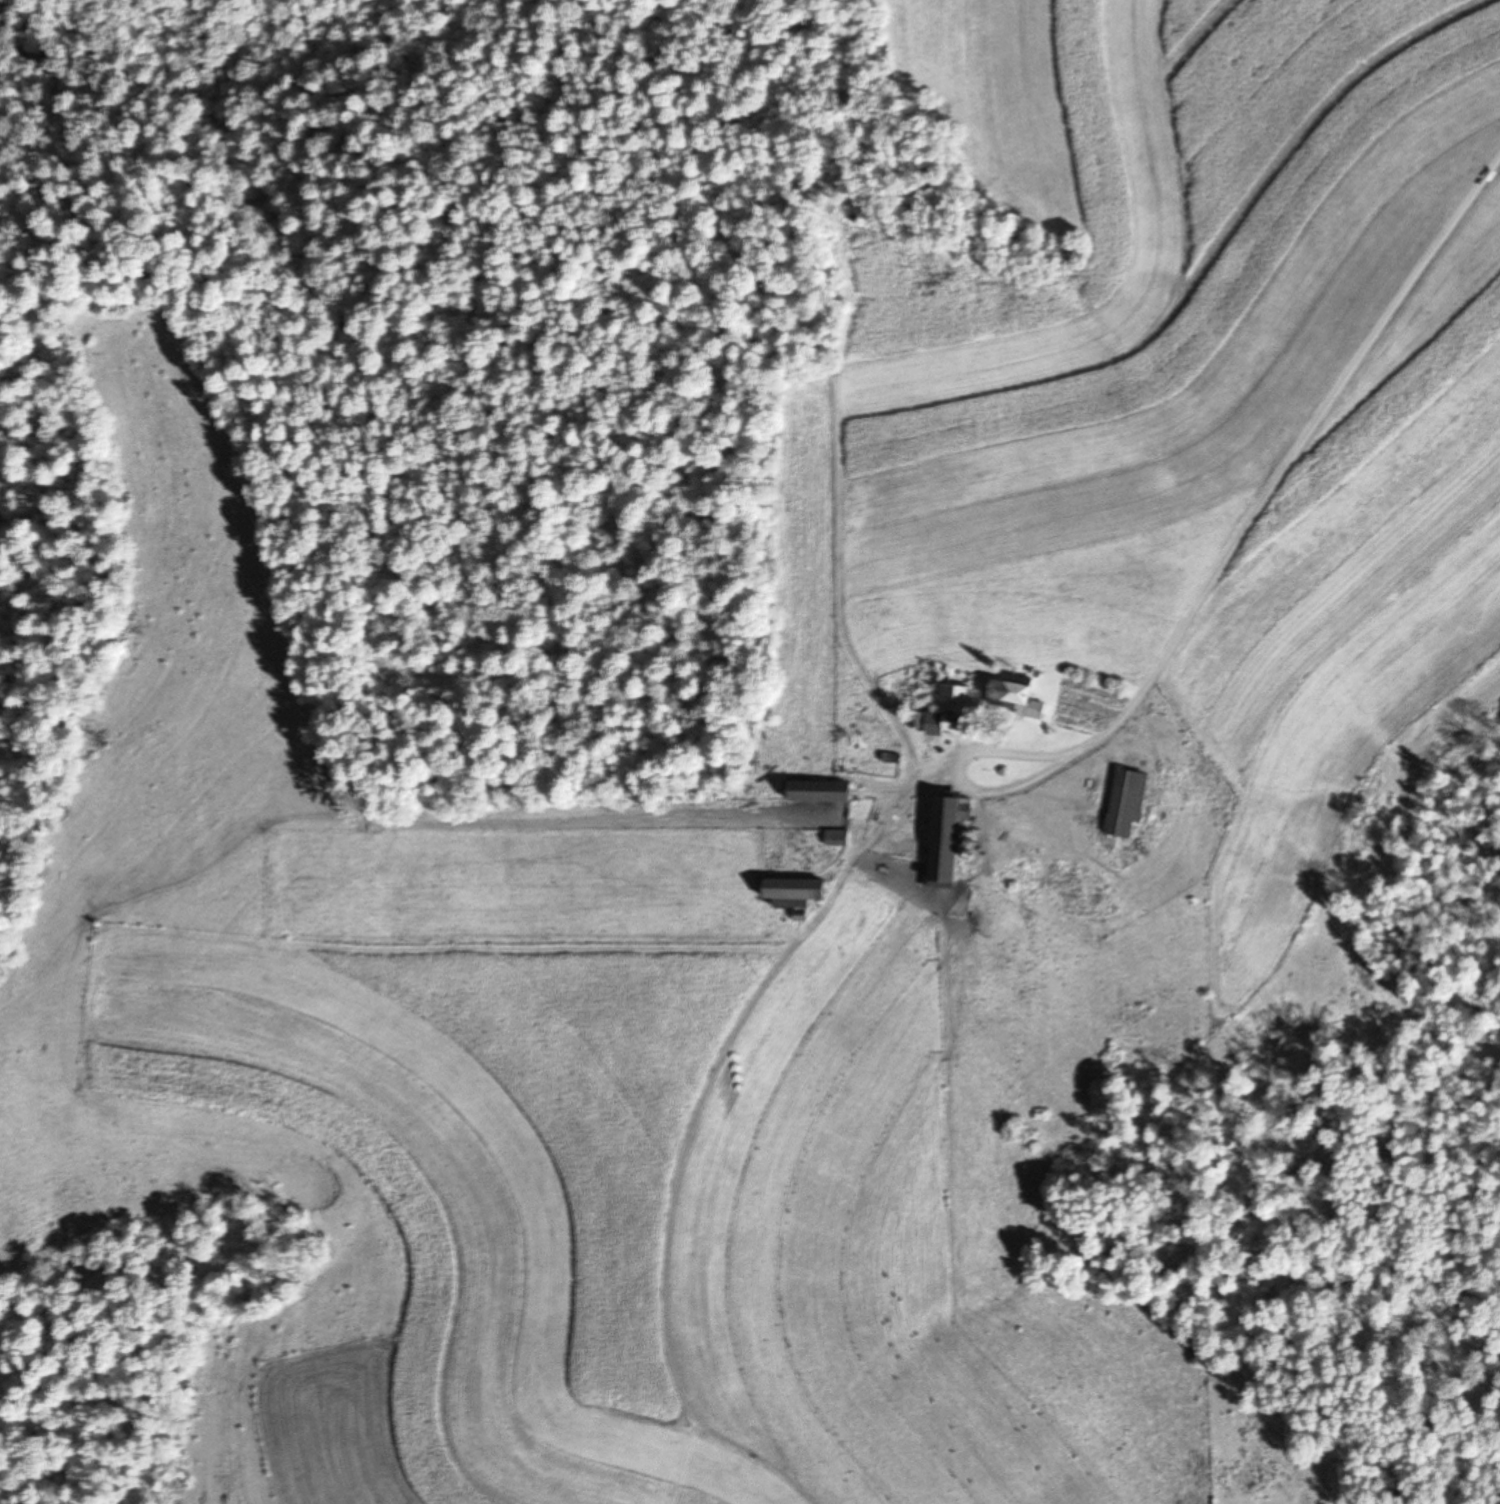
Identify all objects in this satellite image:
road: (1290, 468)
building: (1008, 692)
building: (949, 712)
building: (862, 735)
road: (963, 775)
building: (818, 792)
building: (1125, 803)
building: (945, 837)
building: (837, 838)
building: (792, 892)

